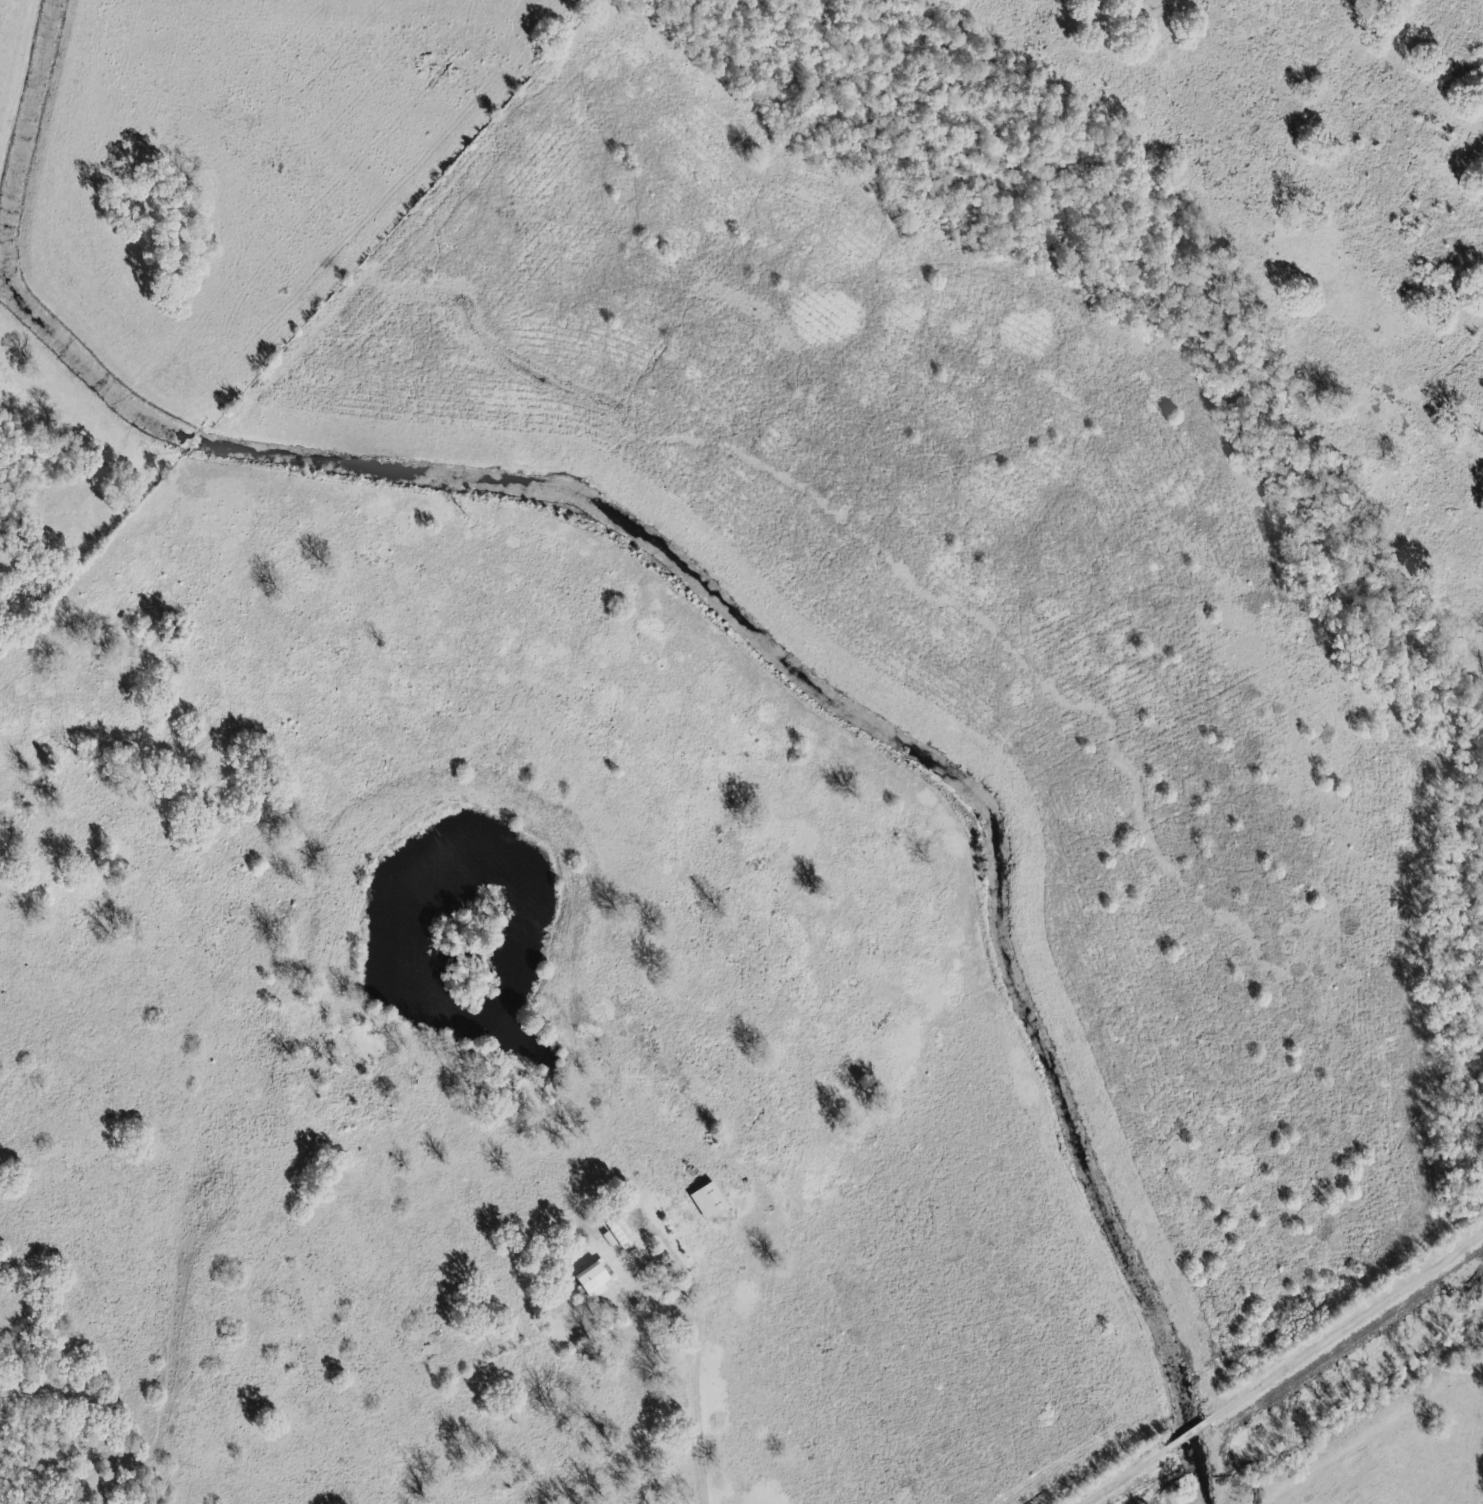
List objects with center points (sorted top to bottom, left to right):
building: (709, 1199)
building: (594, 1279)
road: (1350, 1330)
road: (699, 1351)
road: (1196, 1436)
road: (1135, 1477)

